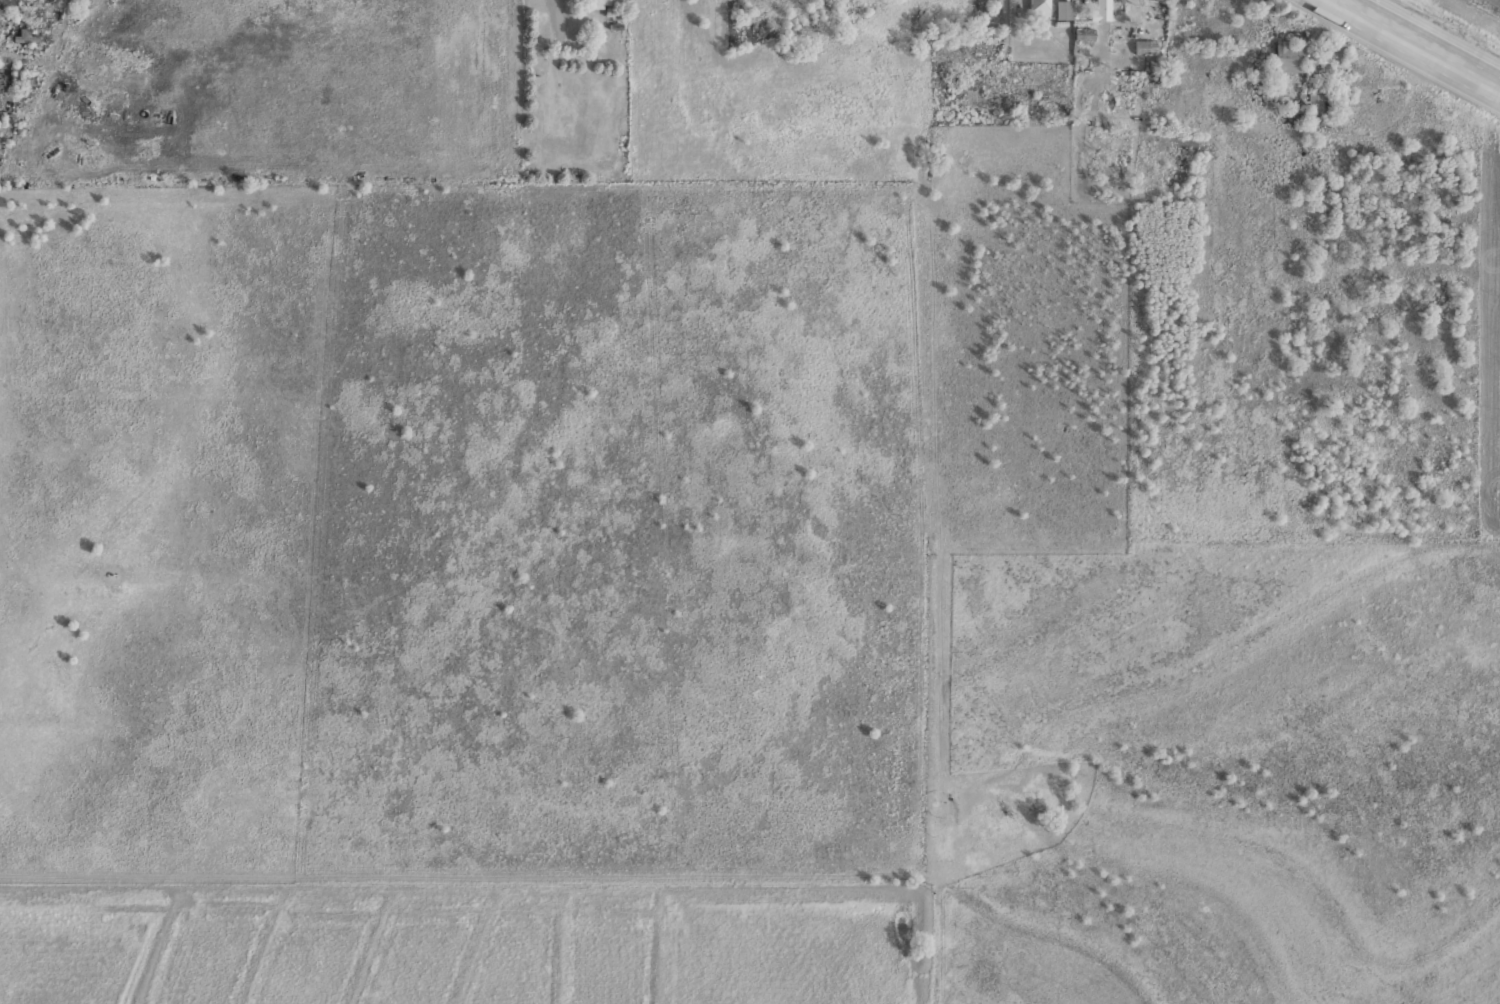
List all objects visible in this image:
building: (599, 2)
building: (1038, 8)
building: (1101, 10)
road: (1423, 41)
building: (1144, 47)
building: (1287, 55)
building: (1315, 98)

